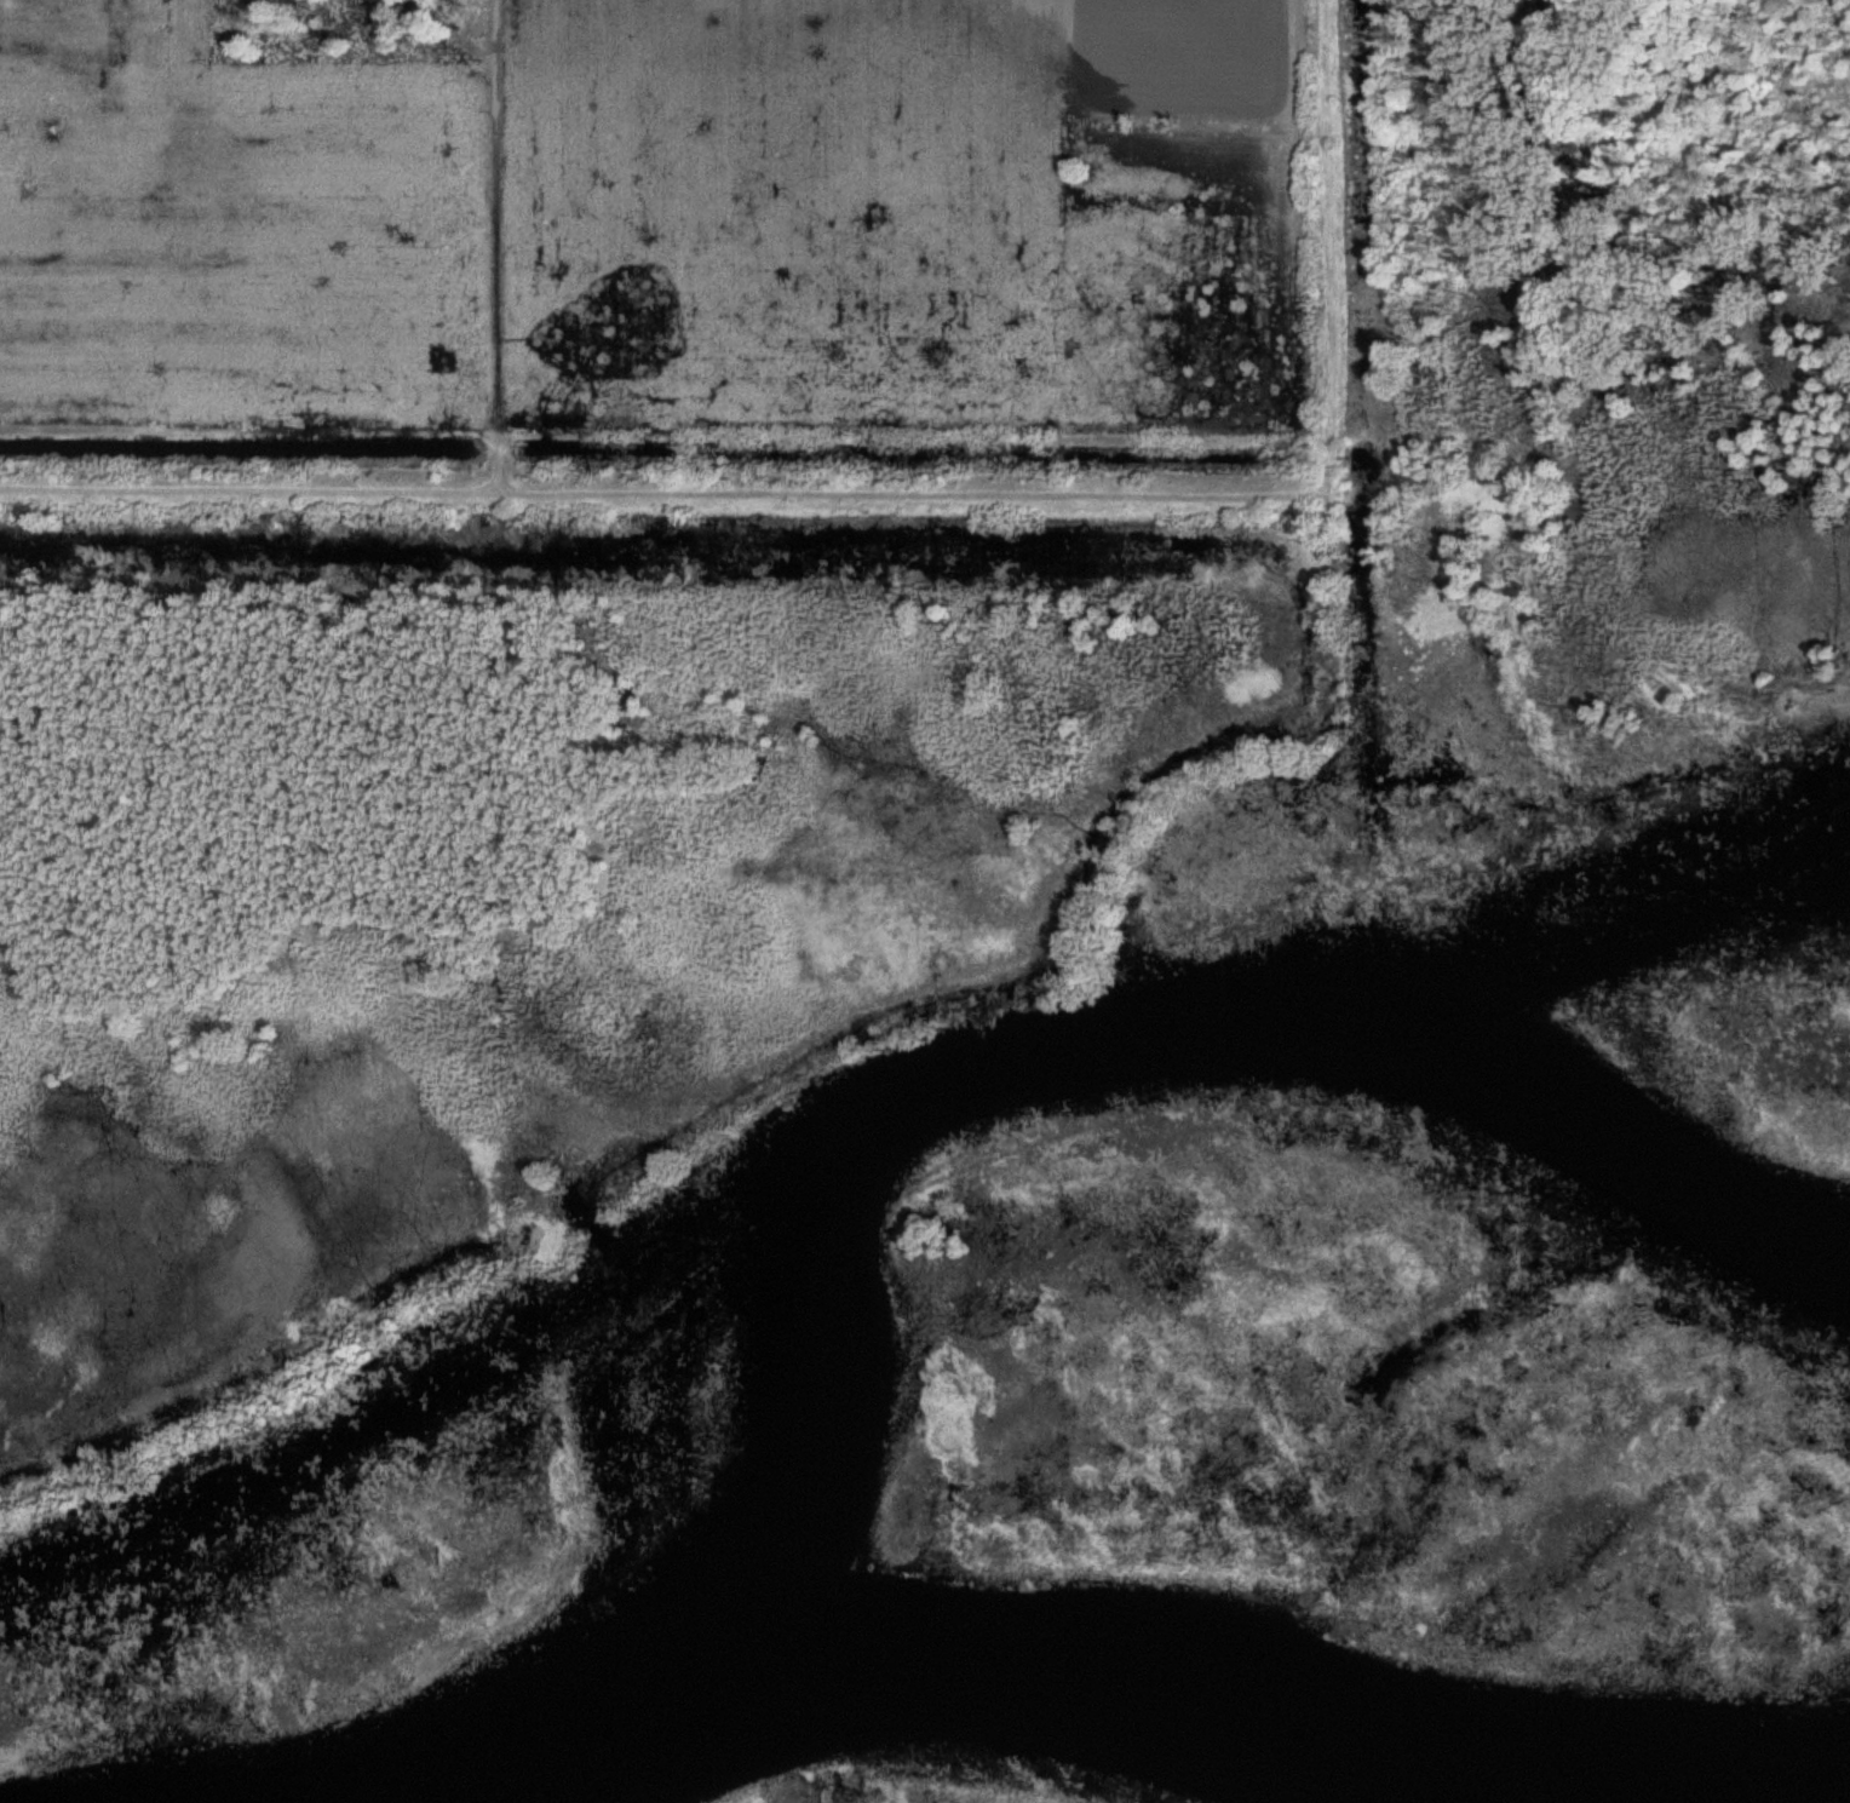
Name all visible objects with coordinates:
river: (1032, 1648)

